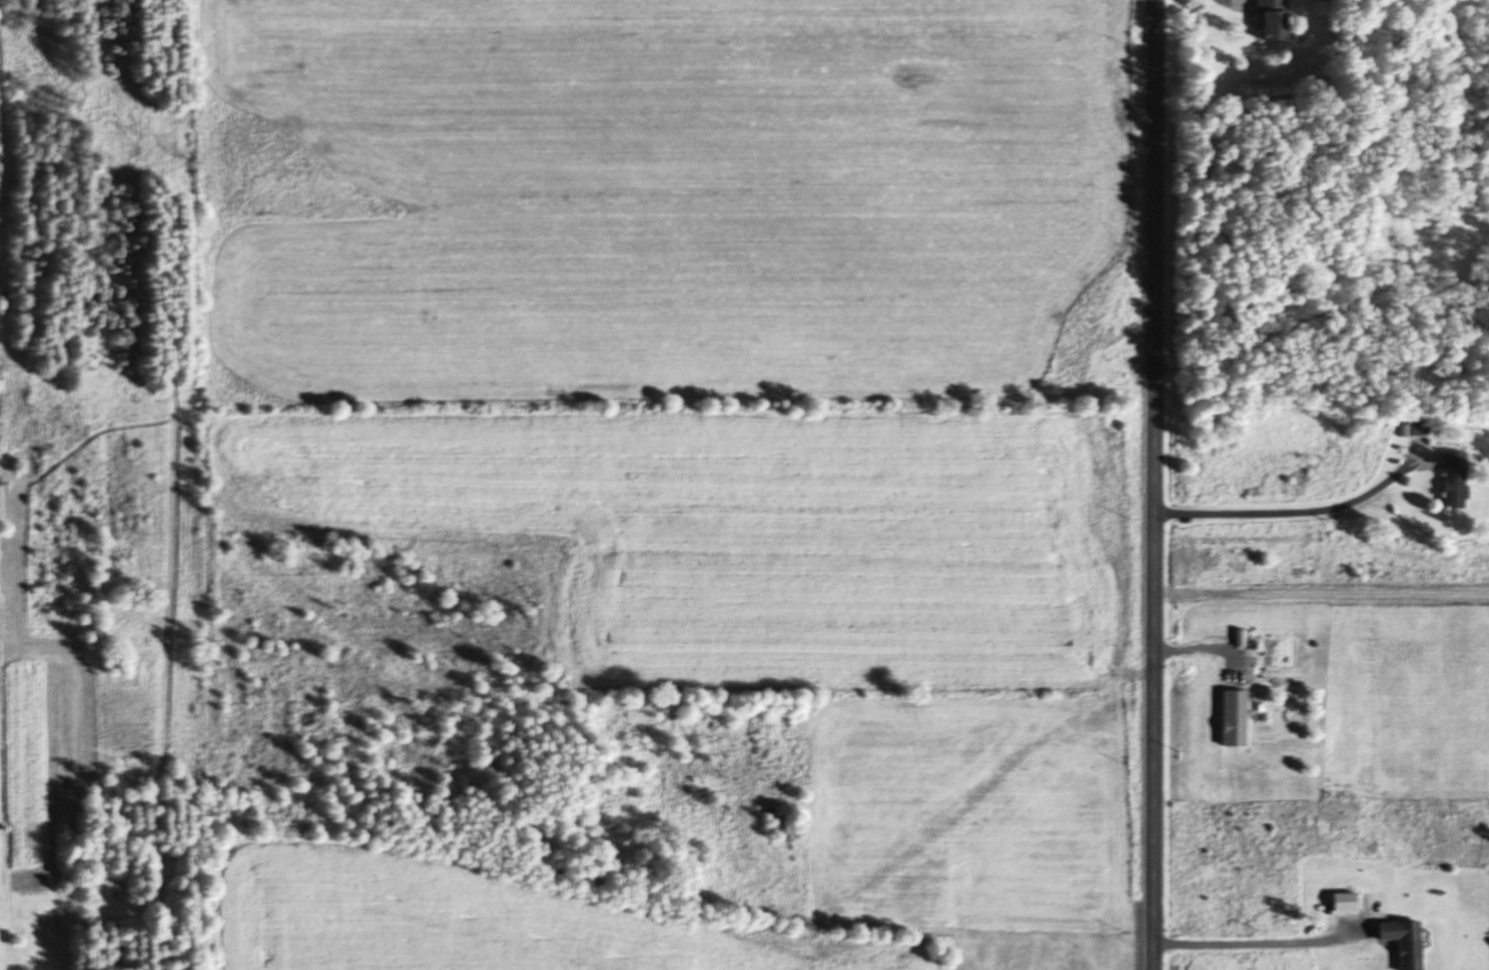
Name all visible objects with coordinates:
building: (1265, 19)
building: (1450, 477)
road: (1161, 485)
building: (1229, 717)
building: (1339, 900)
building: (1398, 941)

